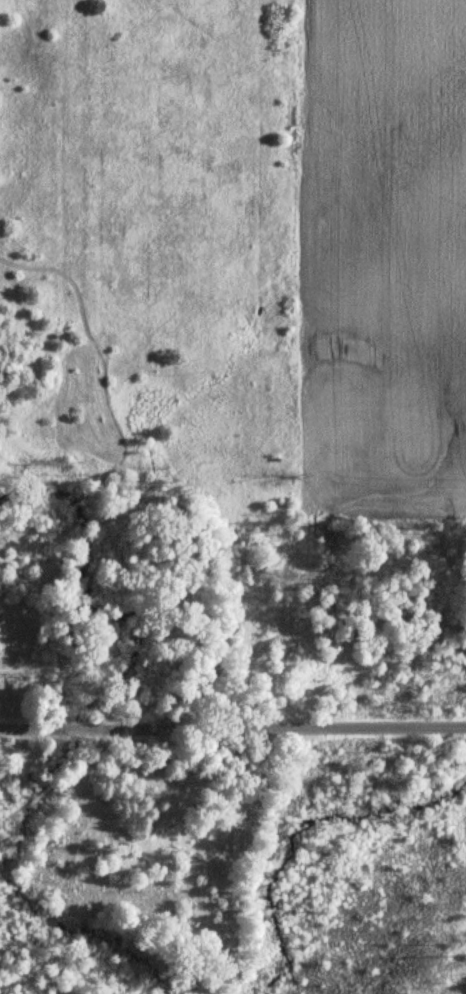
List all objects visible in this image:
road: (232, 728)

